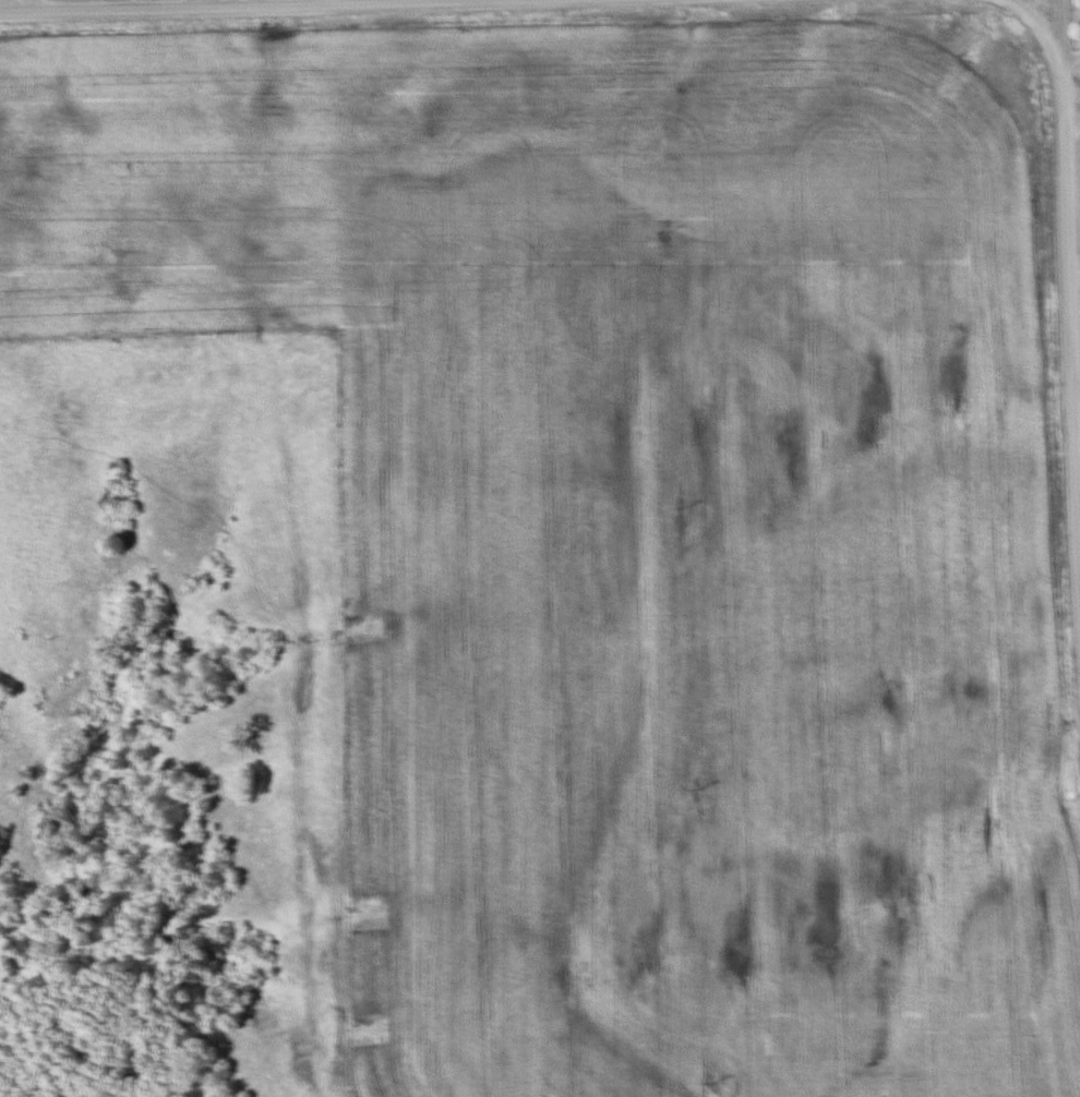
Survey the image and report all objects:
road: (216, 4)
road: (1043, 32)
road: (1065, 224)
crop: (705, 559)

